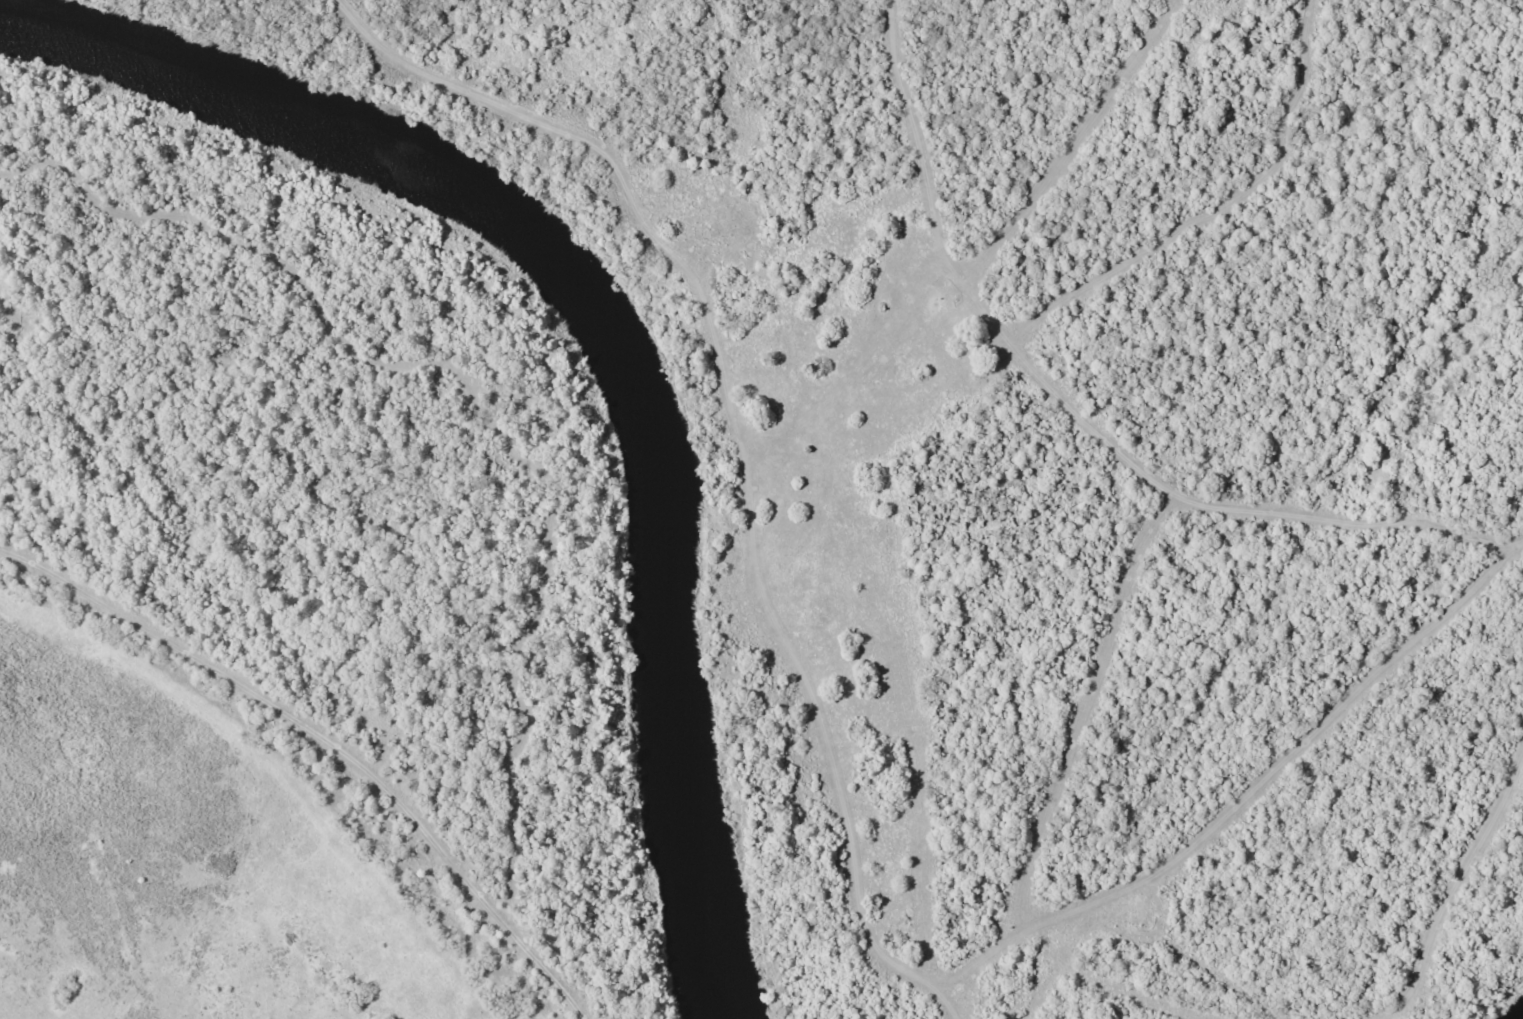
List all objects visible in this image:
river: (607, 335)
road: (299, 751)

